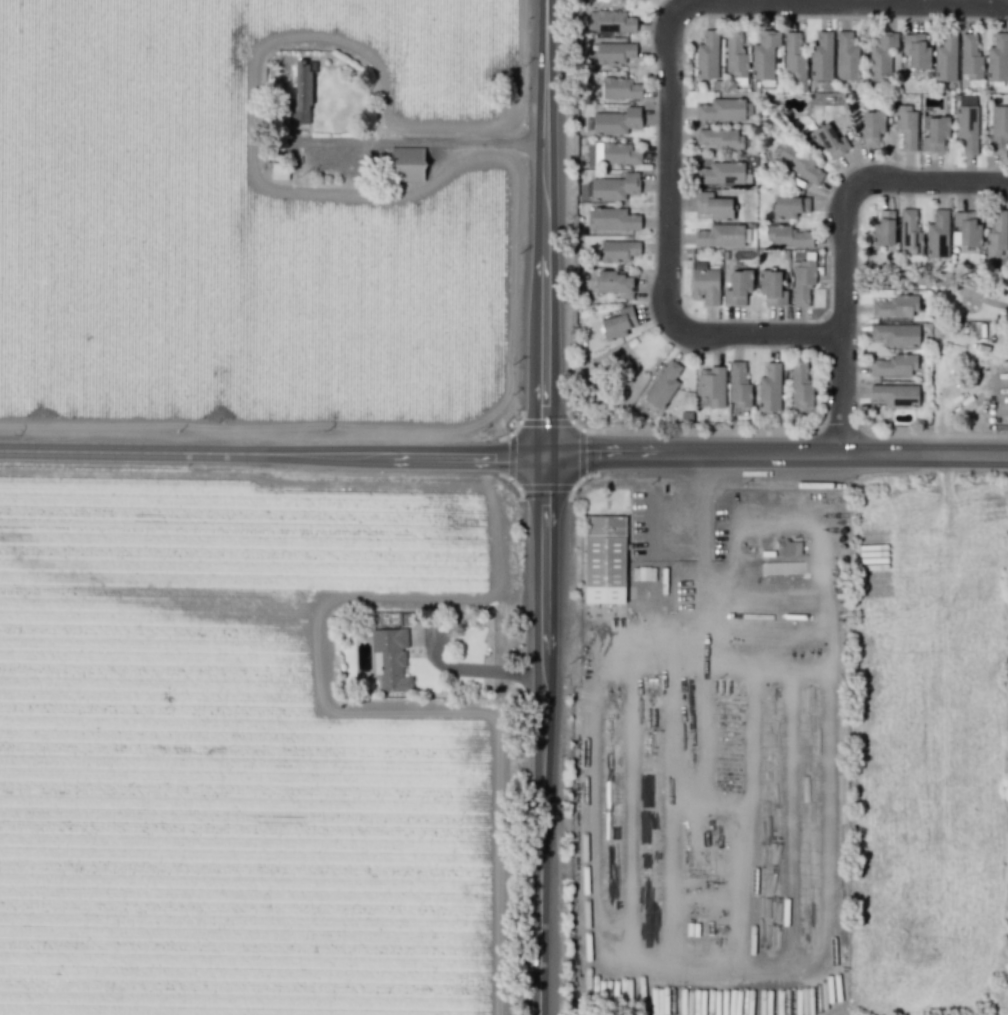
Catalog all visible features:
road: (839, 2)
road: (983, 2)
building: (612, 22)
building: (916, 51)
building: (614, 52)
building: (764, 54)
building: (707, 55)
building: (881, 55)
building: (735, 56)
building: (794, 57)
building: (822, 57)
building: (846, 57)
building: (945, 57)
building: (970, 58)
building: (998, 58)
building: (620, 88)
building: (301, 93)
building: (724, 110)
building: (616, 121)
building: (906, 127)
building: (872, 128)
building: (967, 128)
building: (999, 131)
building: (935, 134)
building: (719, 139)
road: (415, 141)
building: (828, 141)
building: (619, 154)
building: (406, 164)
building: (799, 164)
road: (668, 168)
building: (720, 173)
road: (930, 181)
building: (614, 187)
building: (714, 206)
building: (790, 207)
building: (614, 219)
building: (883, 229)
building: (965, 229)
building: (909, 233)
building: (996, 234)
building: (937, 235)
building: (720, 236)
building: (788, 237)
building: (618, 251)
road: (928, 279)
building: (802, 282)
building: (614, 283)
building: (704, 284)
building: (737, 287)
building: (771, 287)
park: (950, 292)
building: (895, 306)
road: (842, 319)
building: (618, 323)
building: (895, 334)
road: (758, 335)
building: (894, 365)
building: (800, 384)
building: (663, 385)
building: (738, 385)
building: (711, 386)
building: (769, 388)
building: (895, 395)
road: (271, 453)
road: (775, 454)
road: (543, 507)
building: (604, 558)
road: (702, 624)
building: (390, 659)
road: (471, 669)
road: (749, 742)
road: (671, 826)
road: (500, 843)
road: (746, 873)
road: (719, 984)

